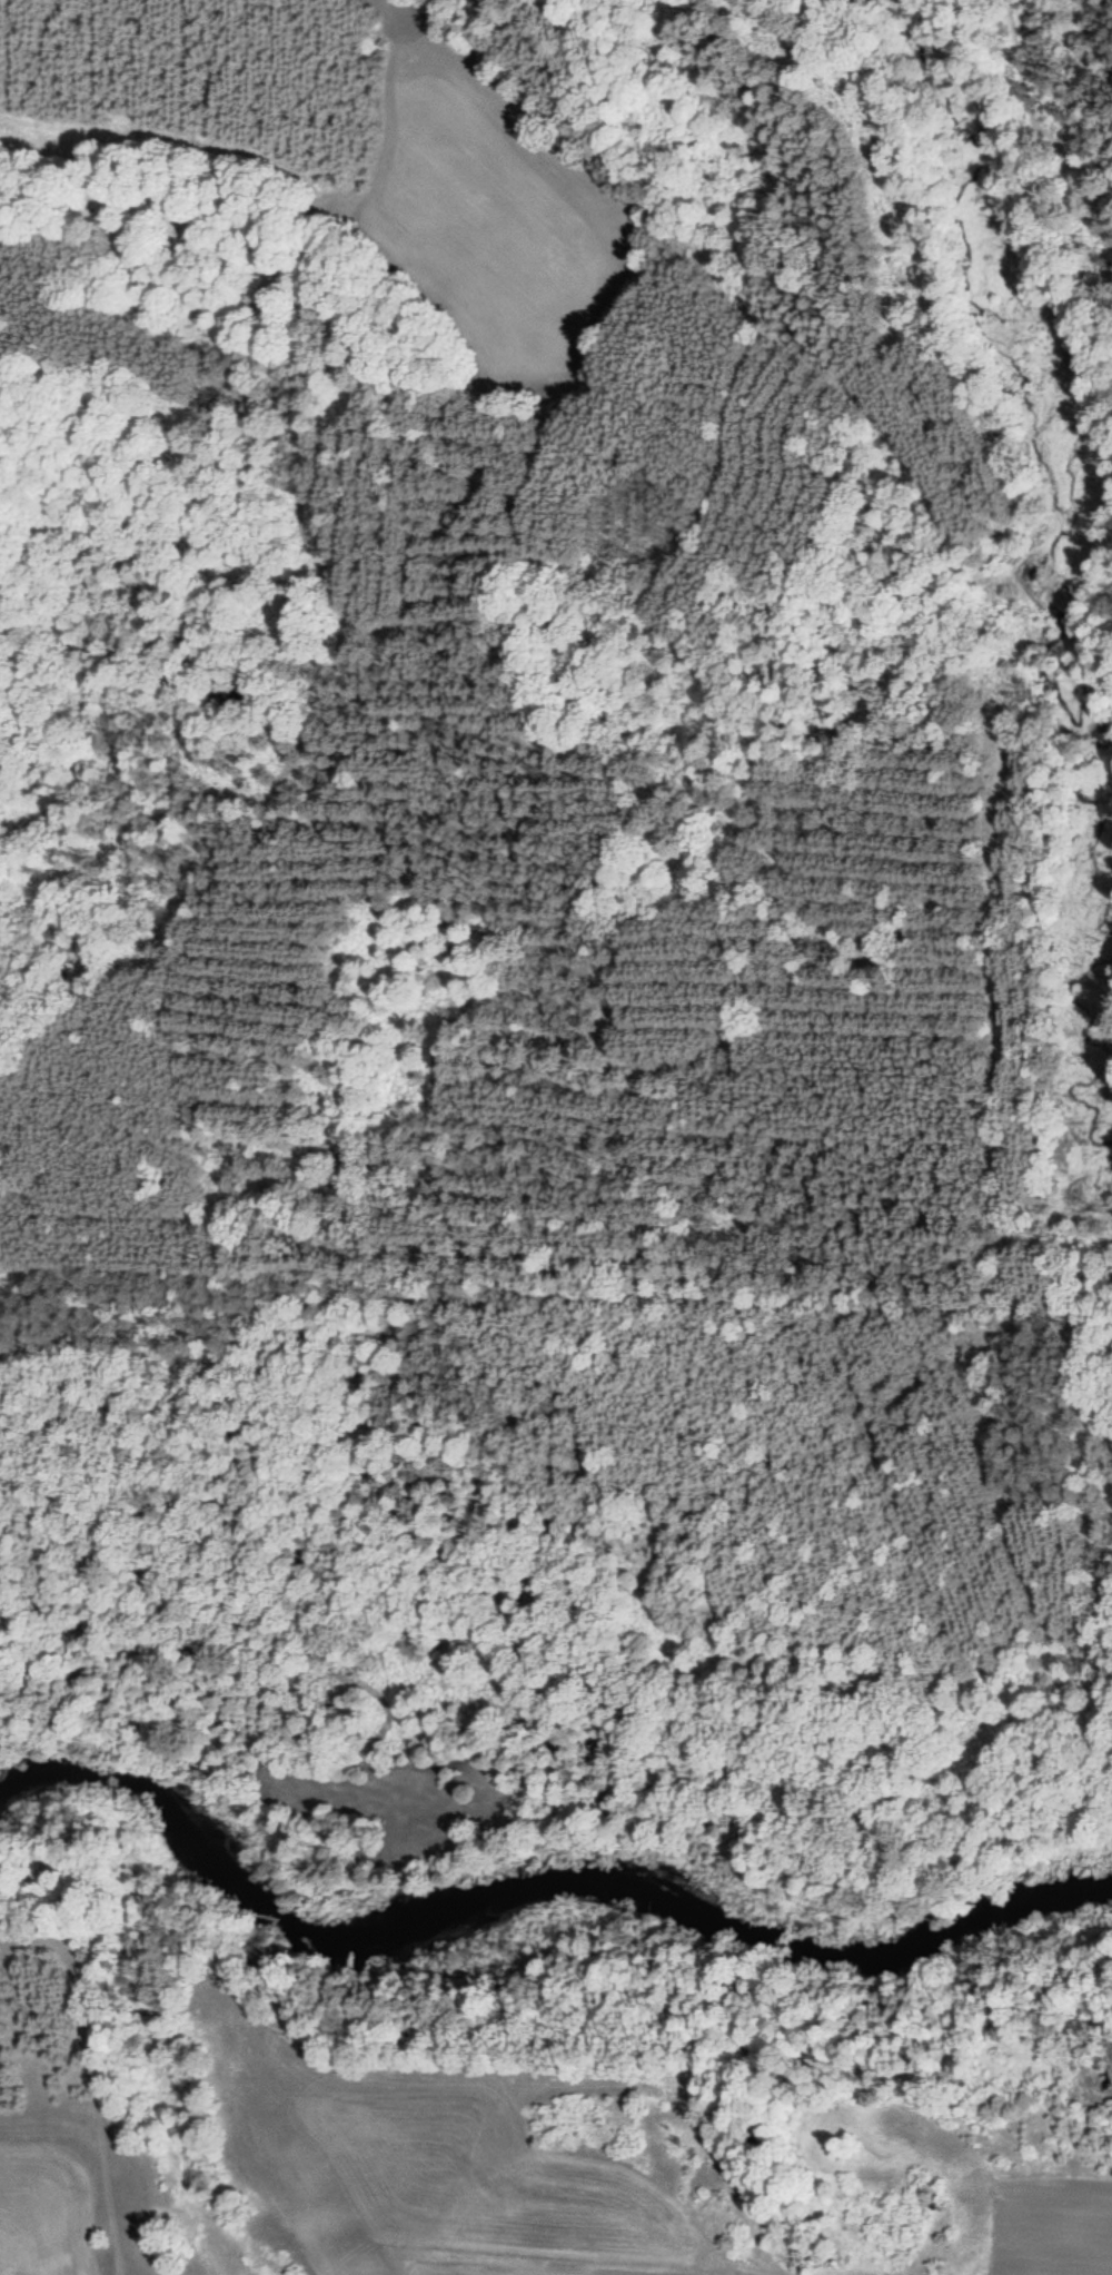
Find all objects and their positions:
river: (534, 1891)

